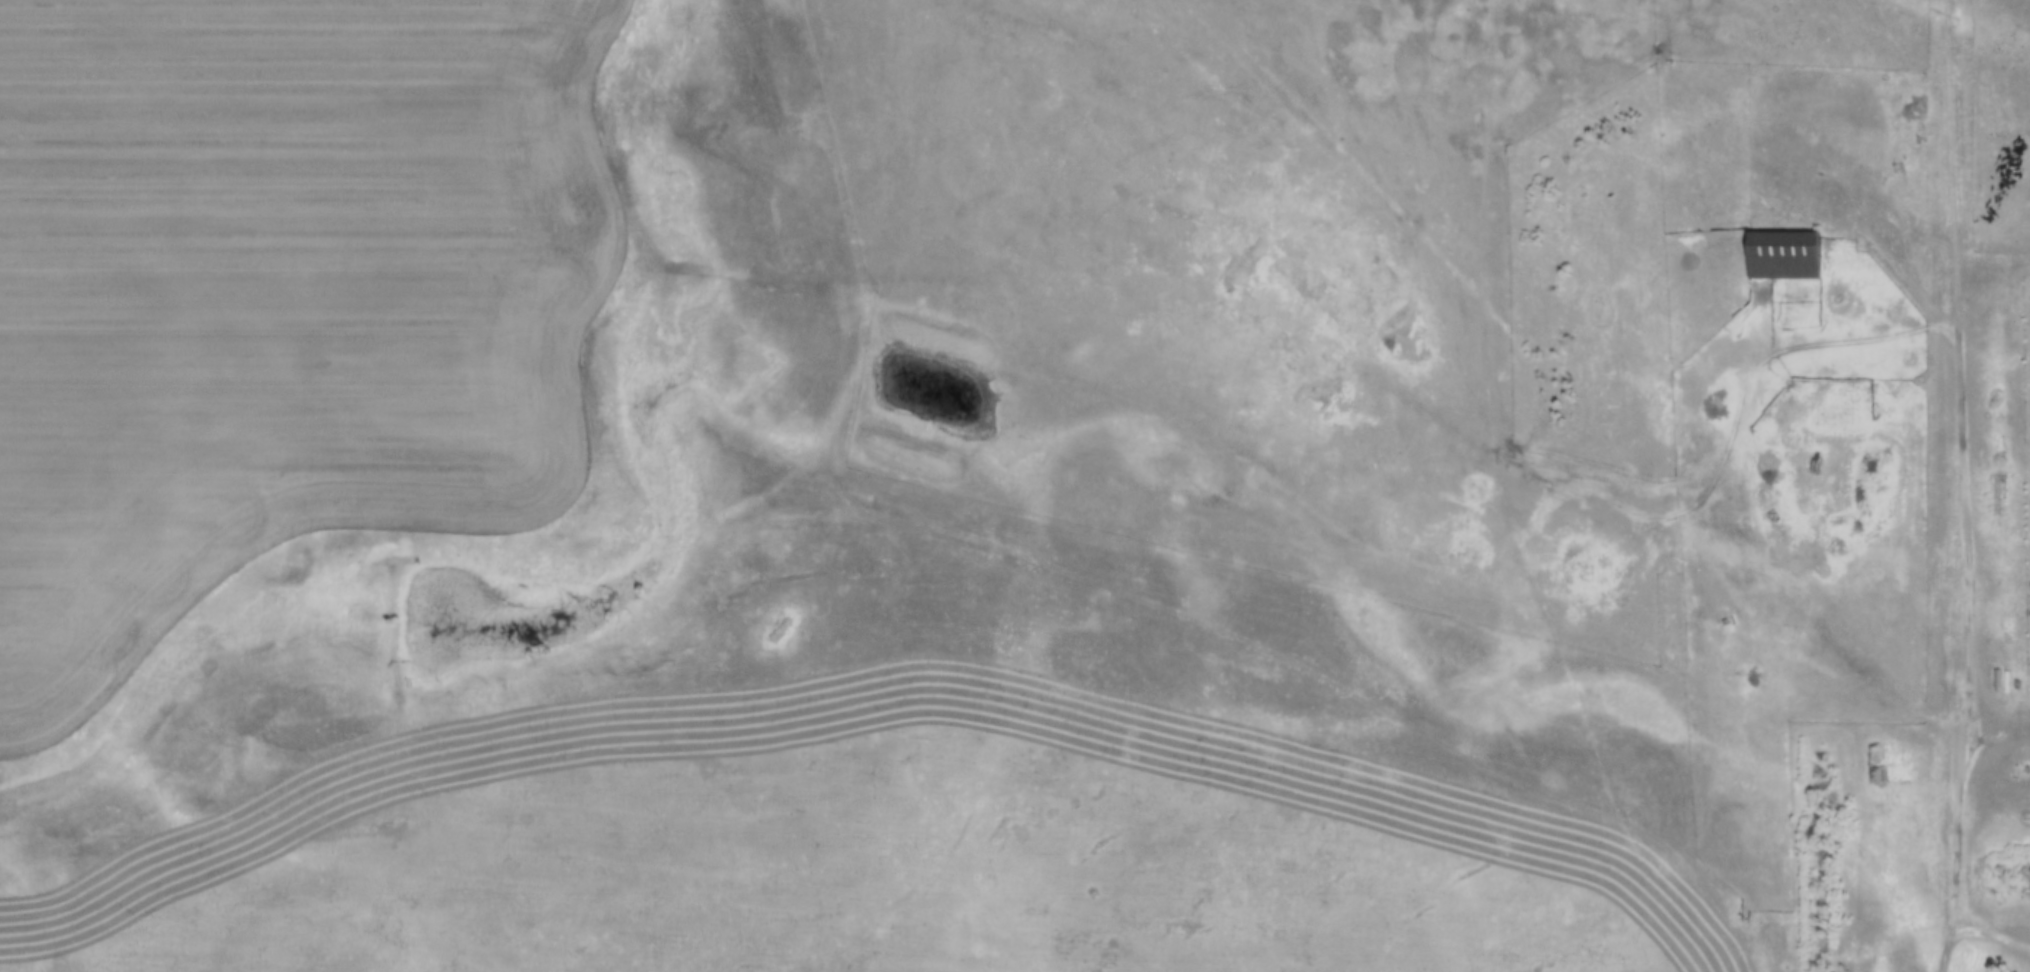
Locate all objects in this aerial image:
road: (1954, 173)
building: (1785, 254)
road: (1966, 528)
road: (1990, 938)
road: (1947, 952)

